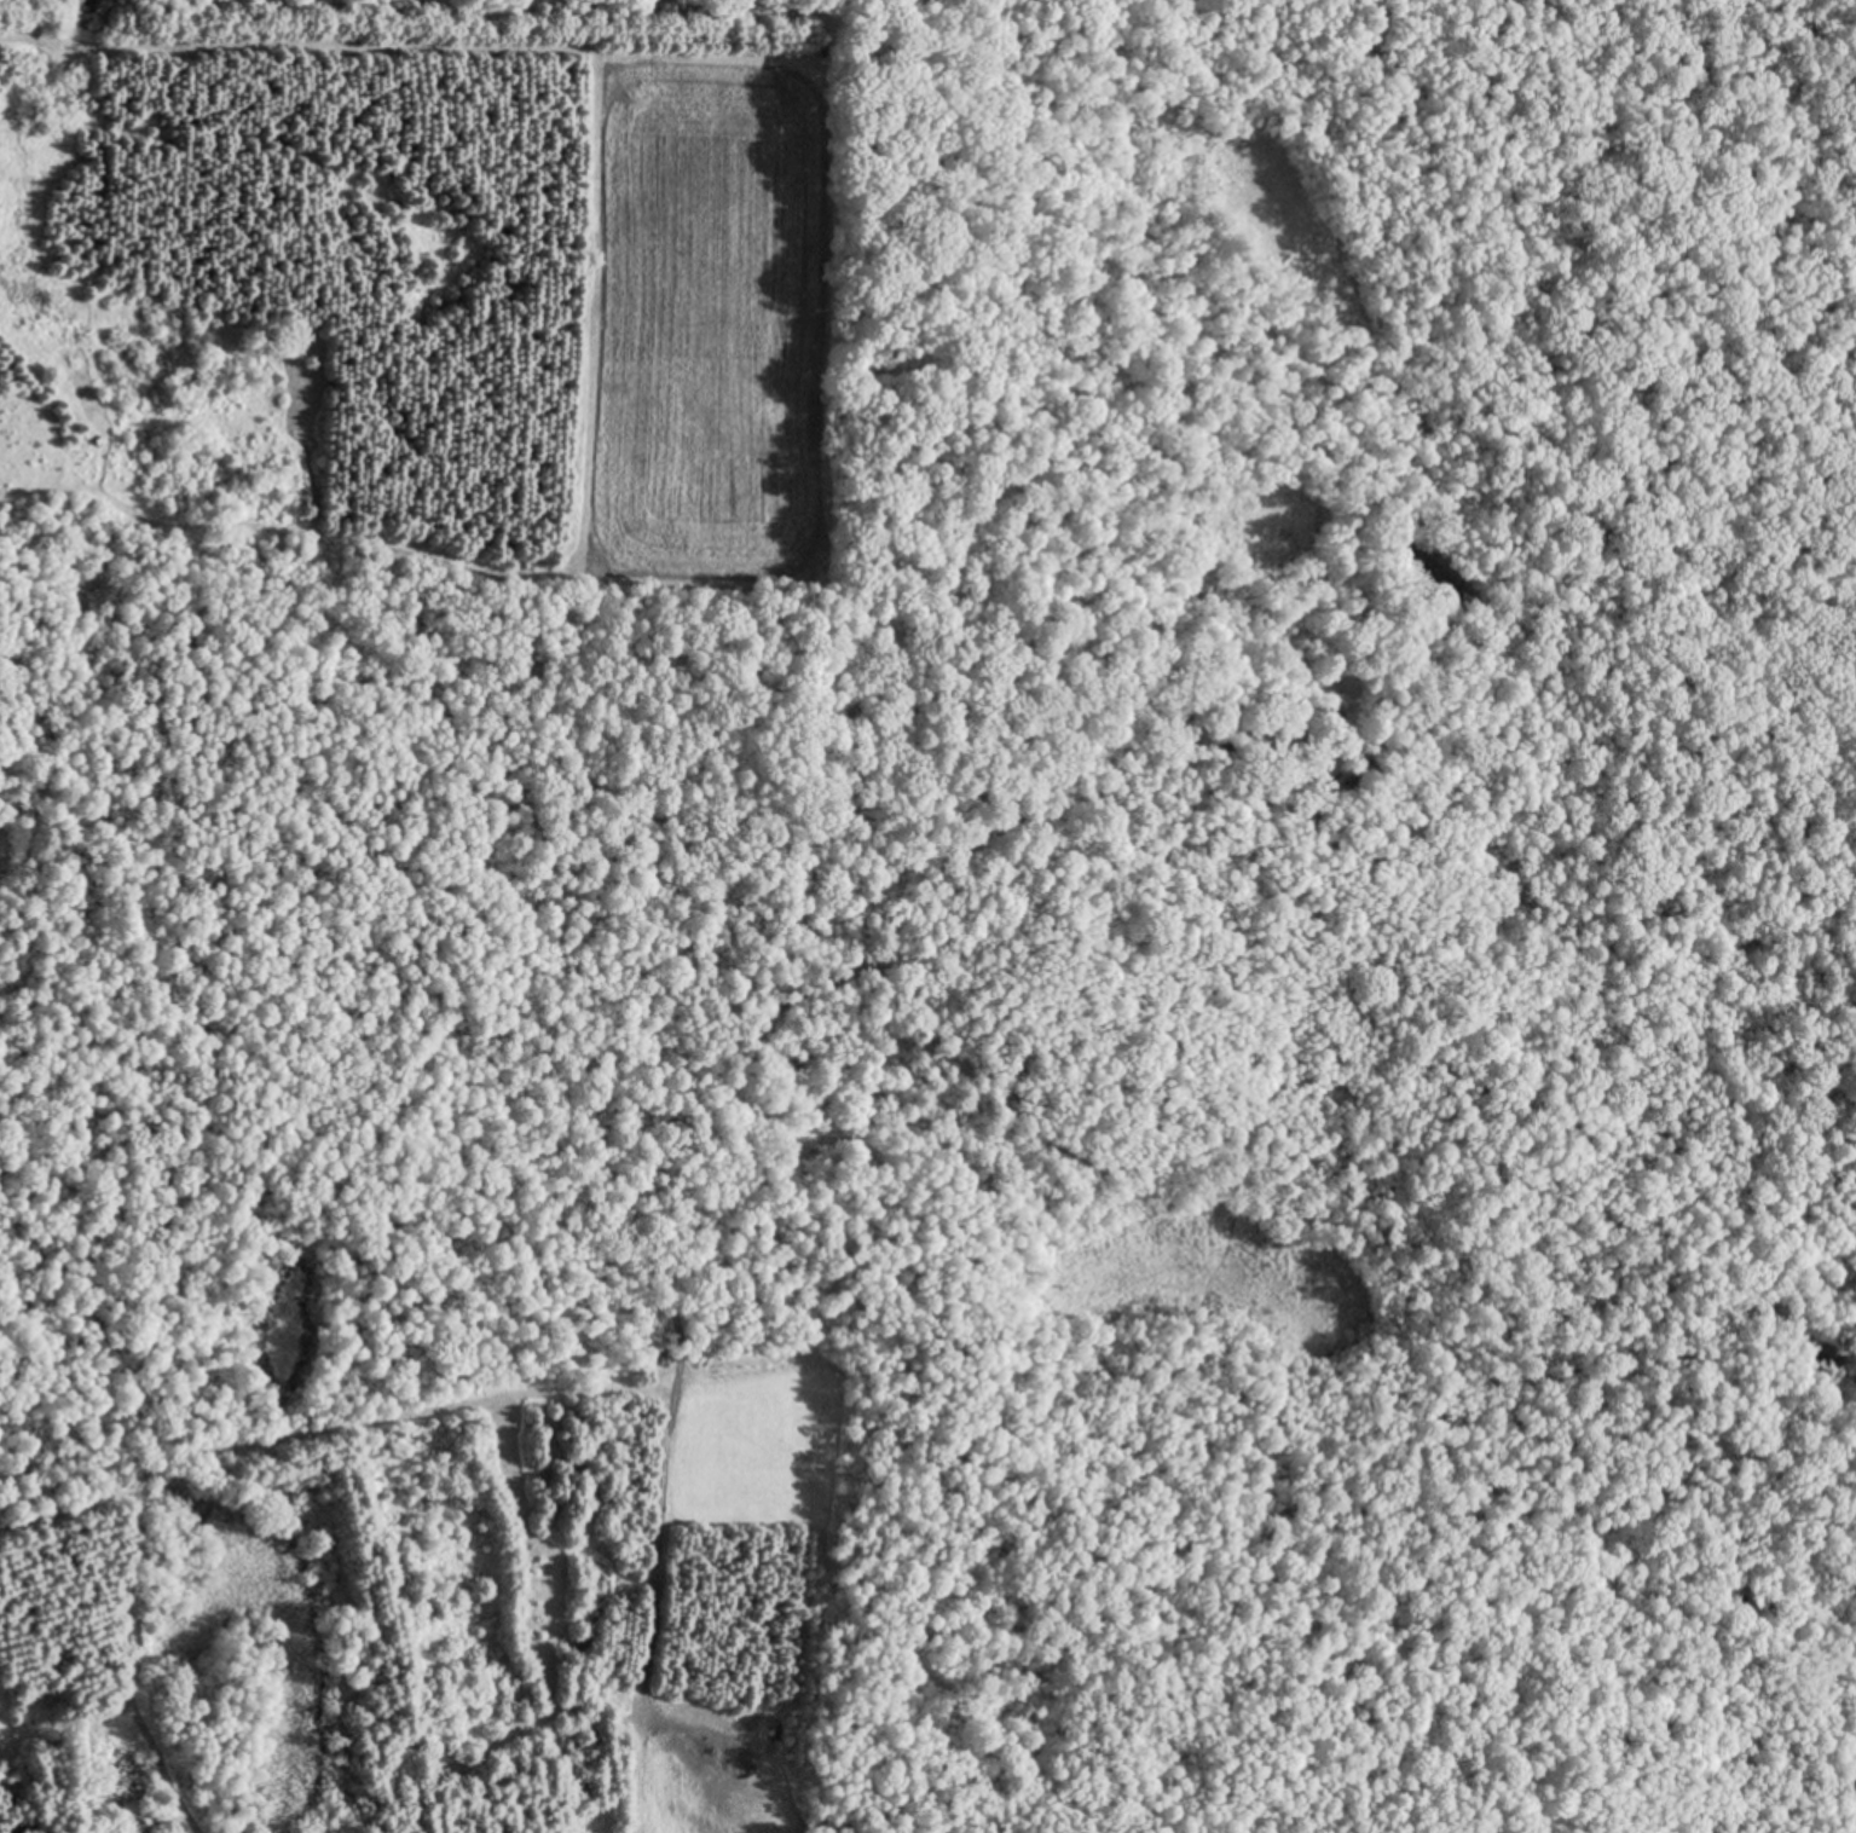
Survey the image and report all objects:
building: (1289, 729)

